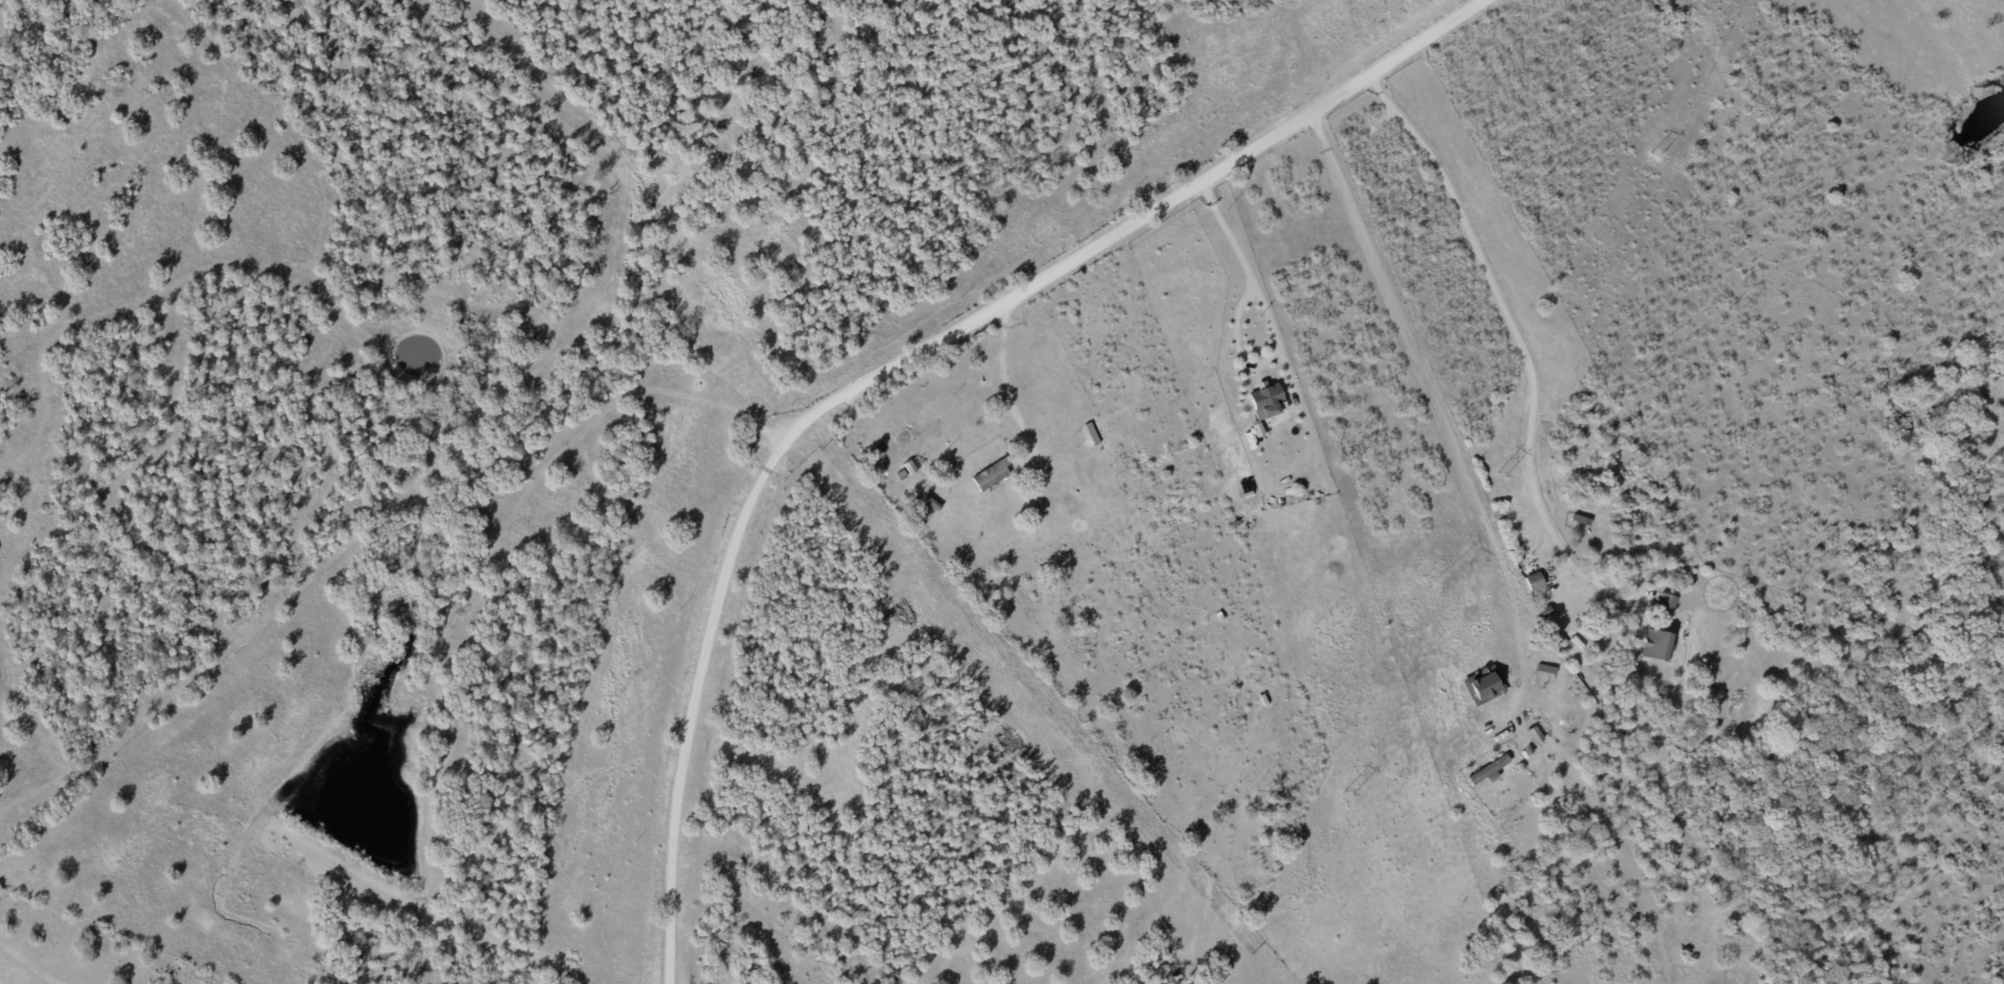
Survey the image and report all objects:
power tower: (1652, 158)
road: (1274, 317)
road: (1519, 348)
road: (892, 366)
road: (1001, 374)
building: (1268, 403)
road: (1423, 408)
building: (912, 464)
building: (990, 474)
power tower: (1500, 477)
building: (1533, 581)
building: (1666, 602)
building: (1655, 645)
building: (1546, 668)
building: (1482, 685)
building: (1533, 734)
building: (1488, 770)
power tower: (1347, 794)

